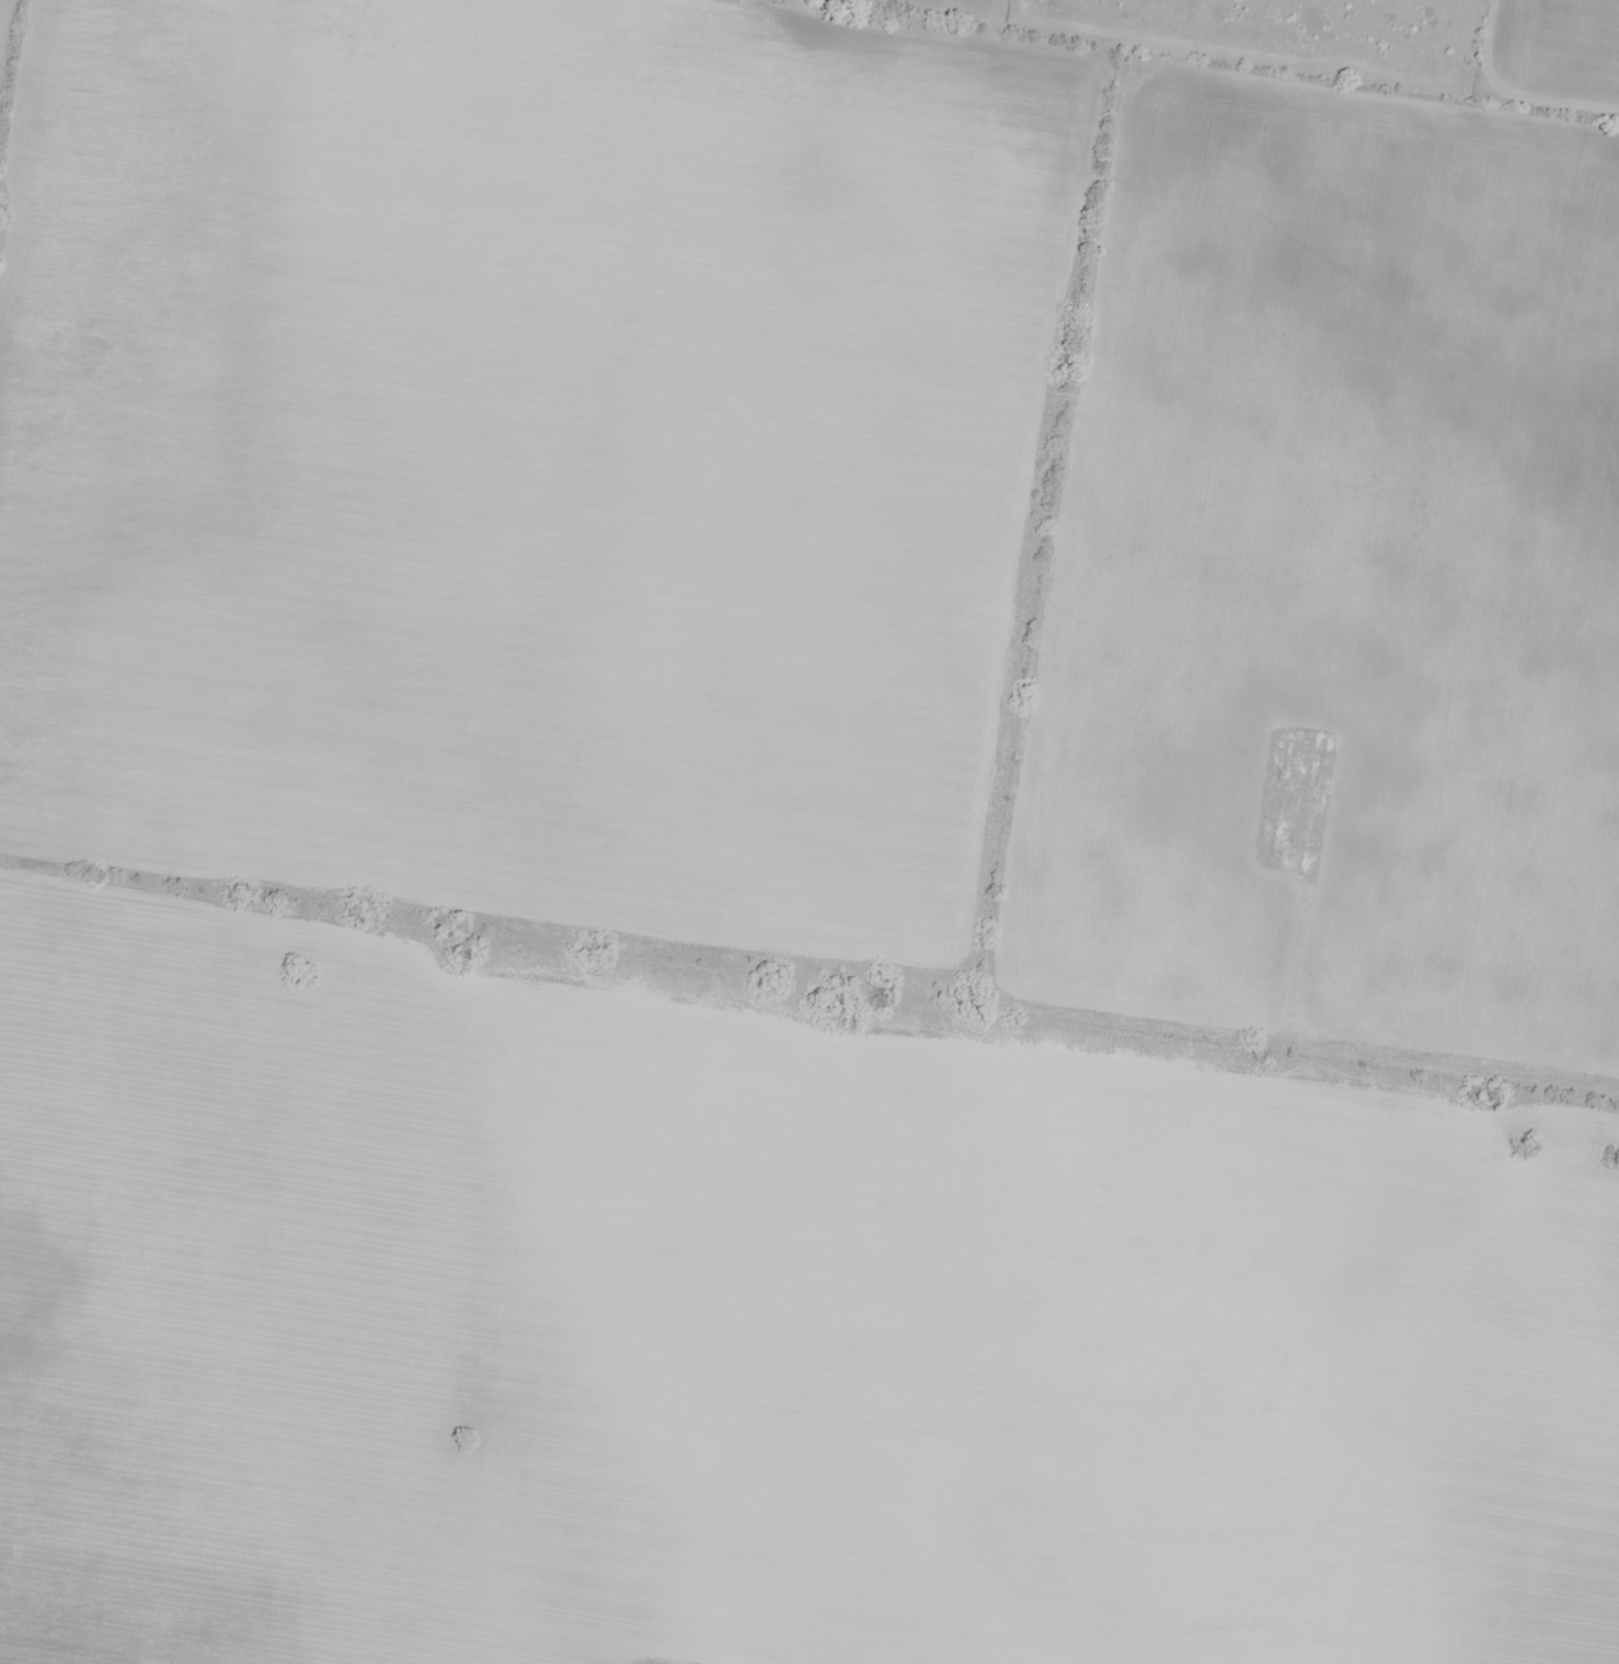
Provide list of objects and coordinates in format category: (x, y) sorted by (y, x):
road: (28, 1630)

